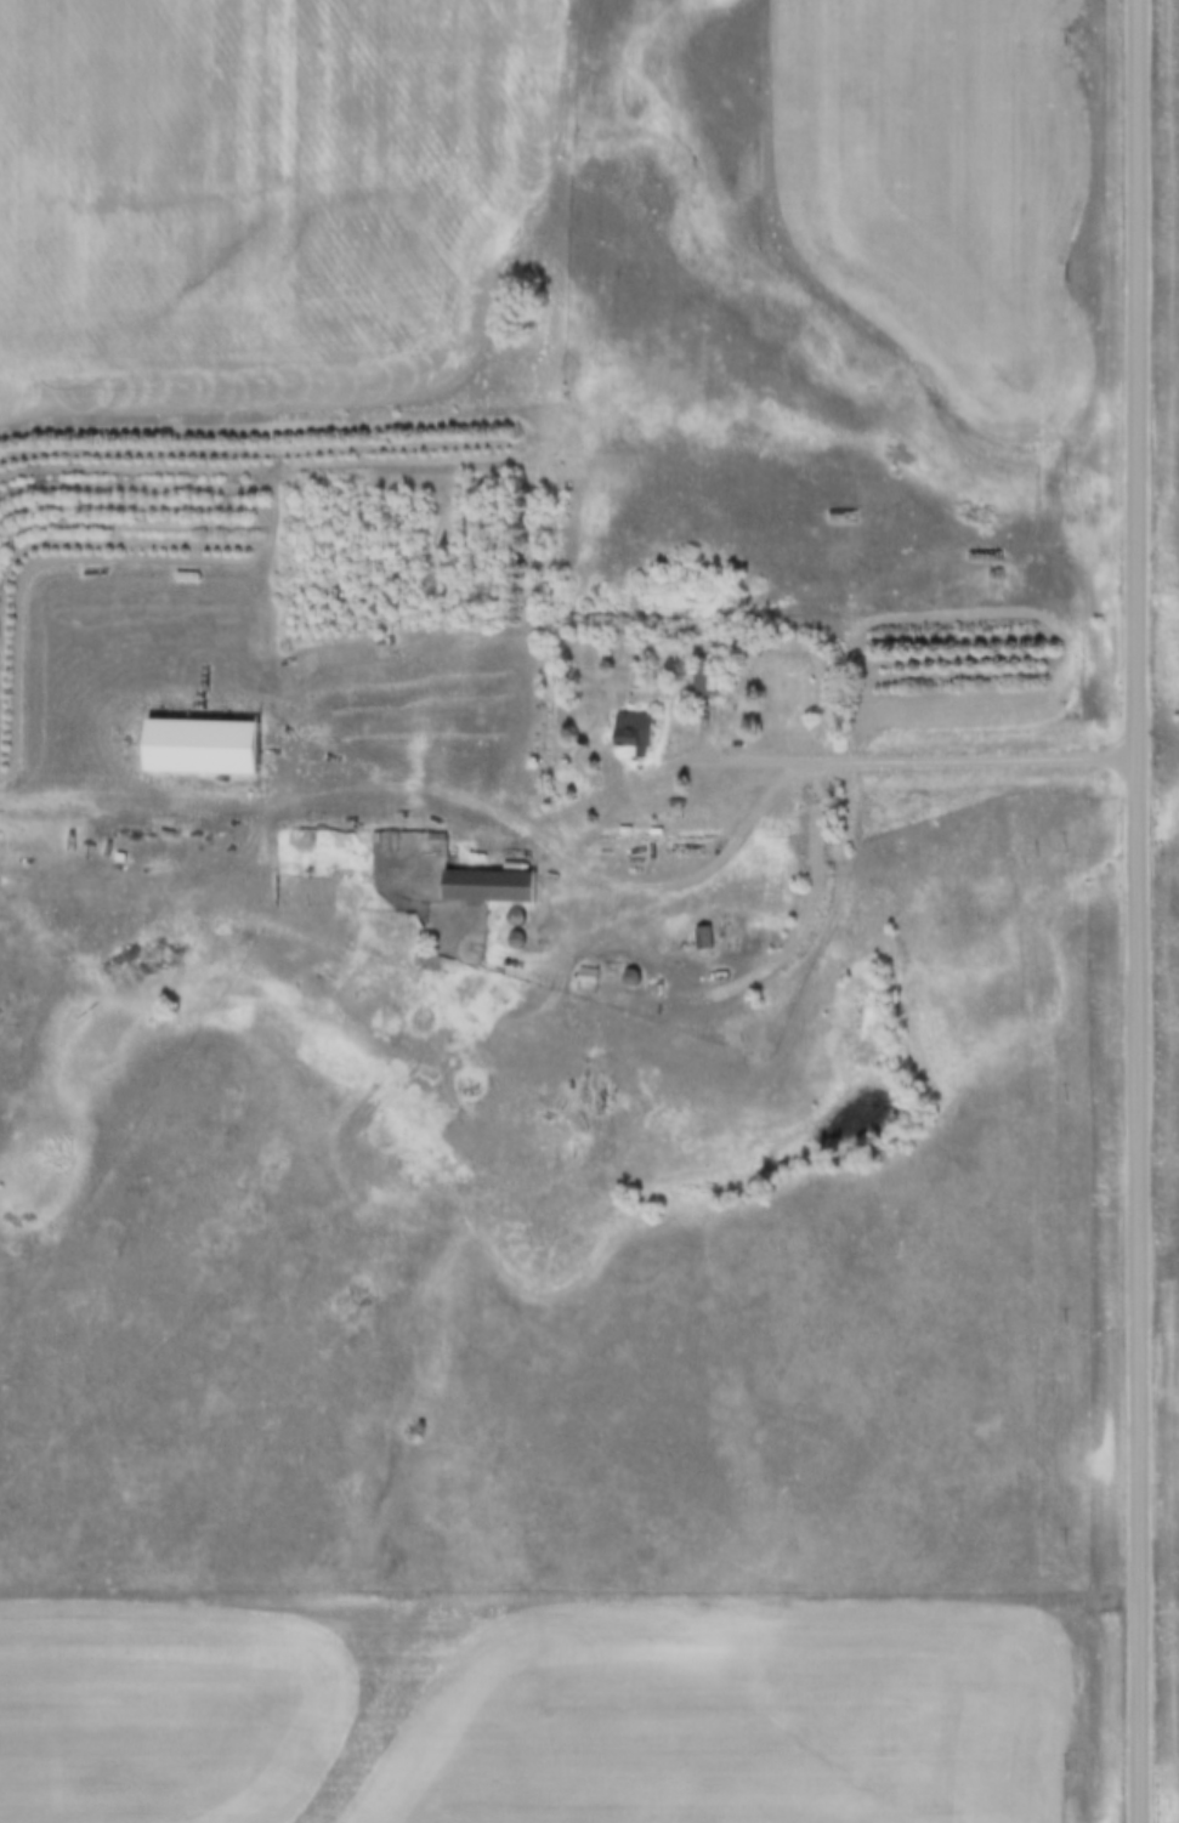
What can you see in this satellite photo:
building: (708, 676)
building: (634, 732)
building: (200, 745)
road: (878, 765)
road: (287, 811)
road: (713, 873)
building: (488, 885)
road: (1133, 911)
building: (702, 936)

